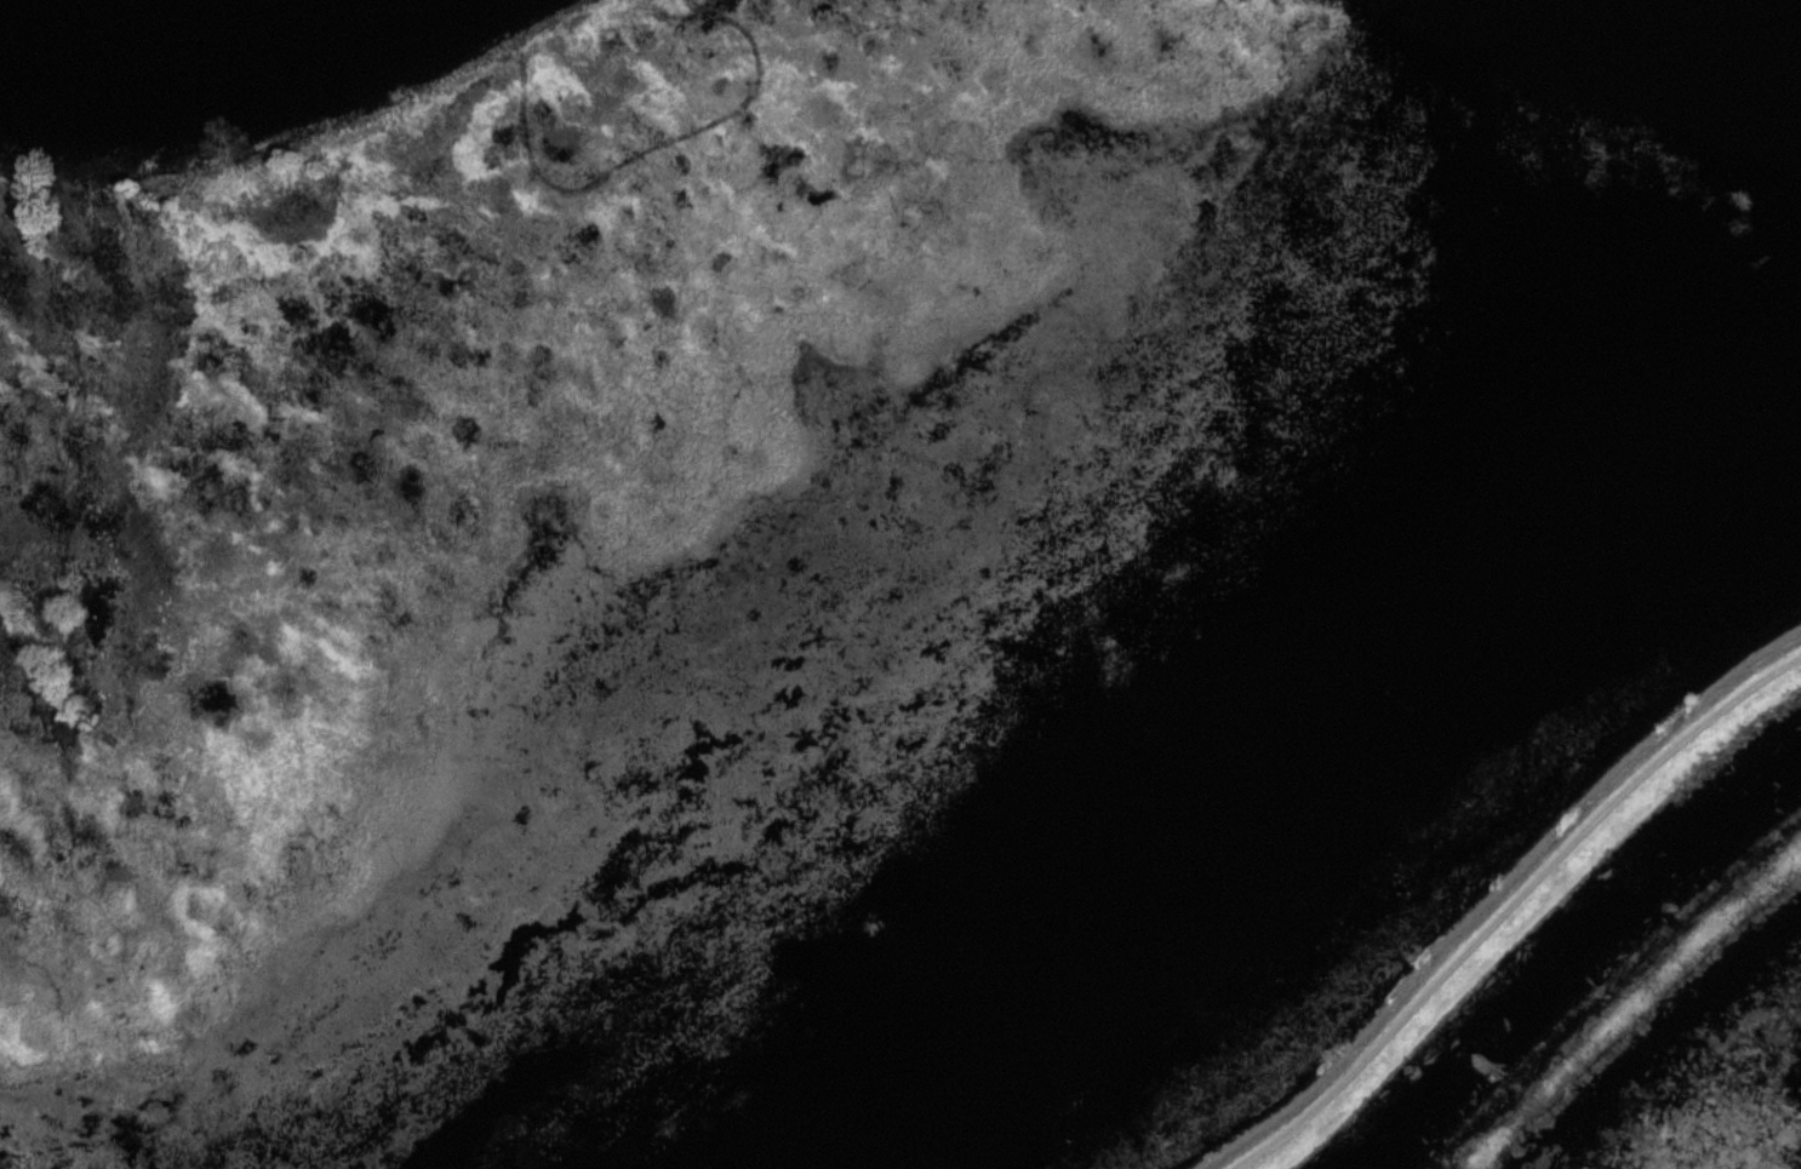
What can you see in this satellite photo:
river: (34, 11)
road: (1519, 906)

